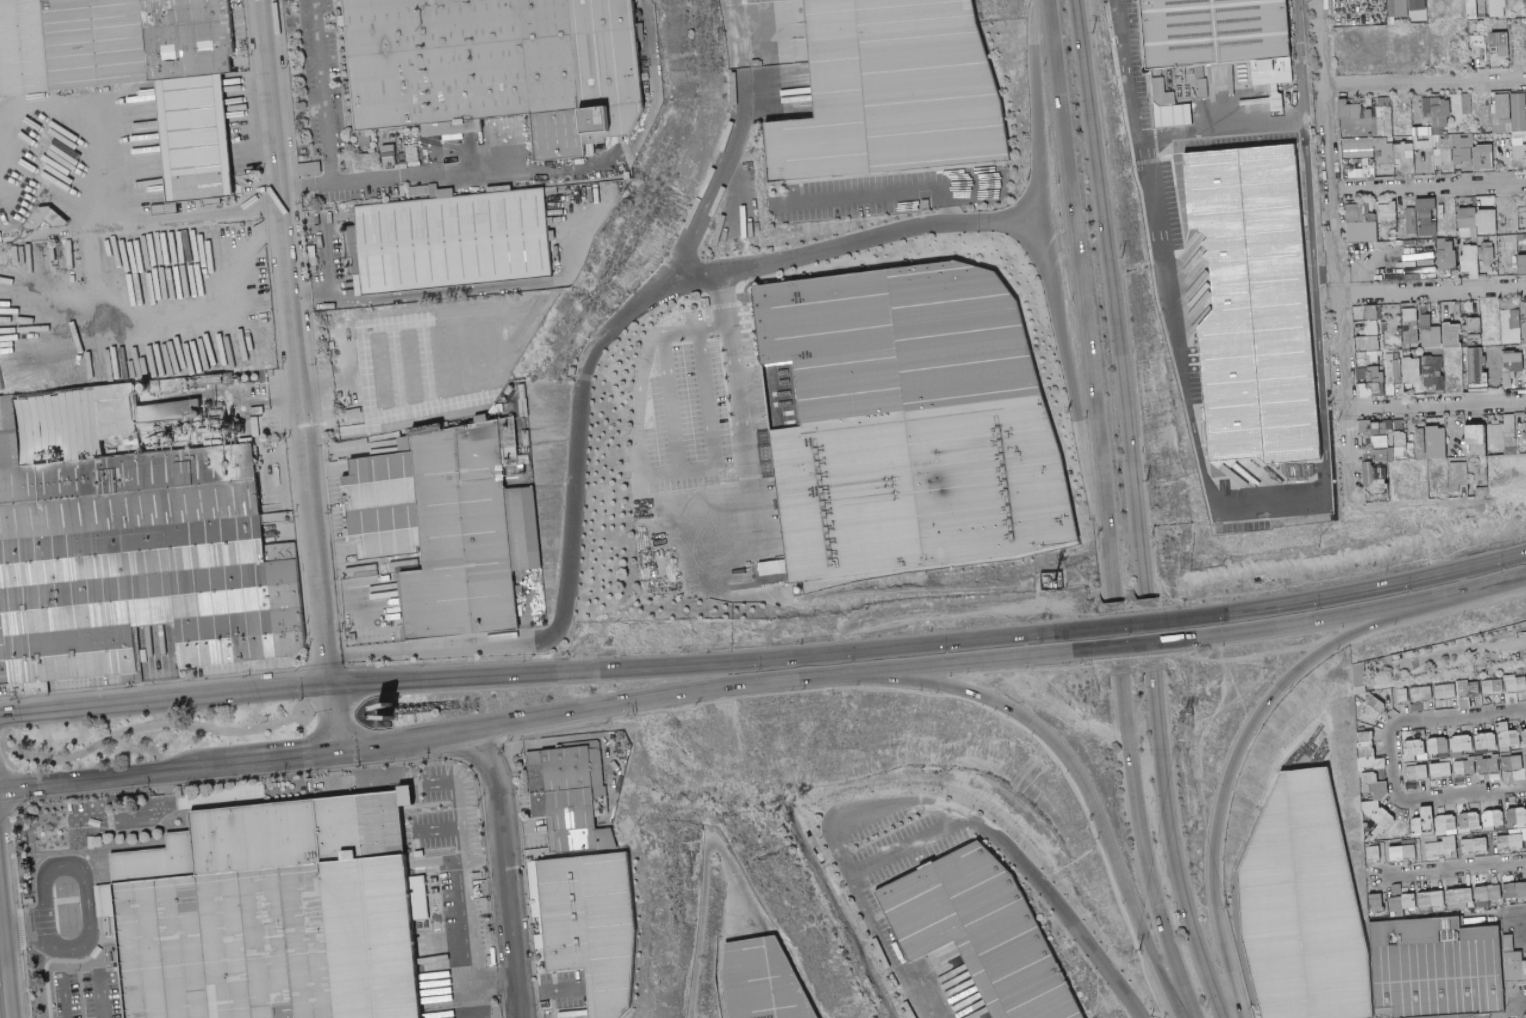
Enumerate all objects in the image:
power tower: (1092, 30)
power tower: (1120, 256)
power tower: (1146, 479)
power tower: (1186, 720)
power tower: (1139, 949)

